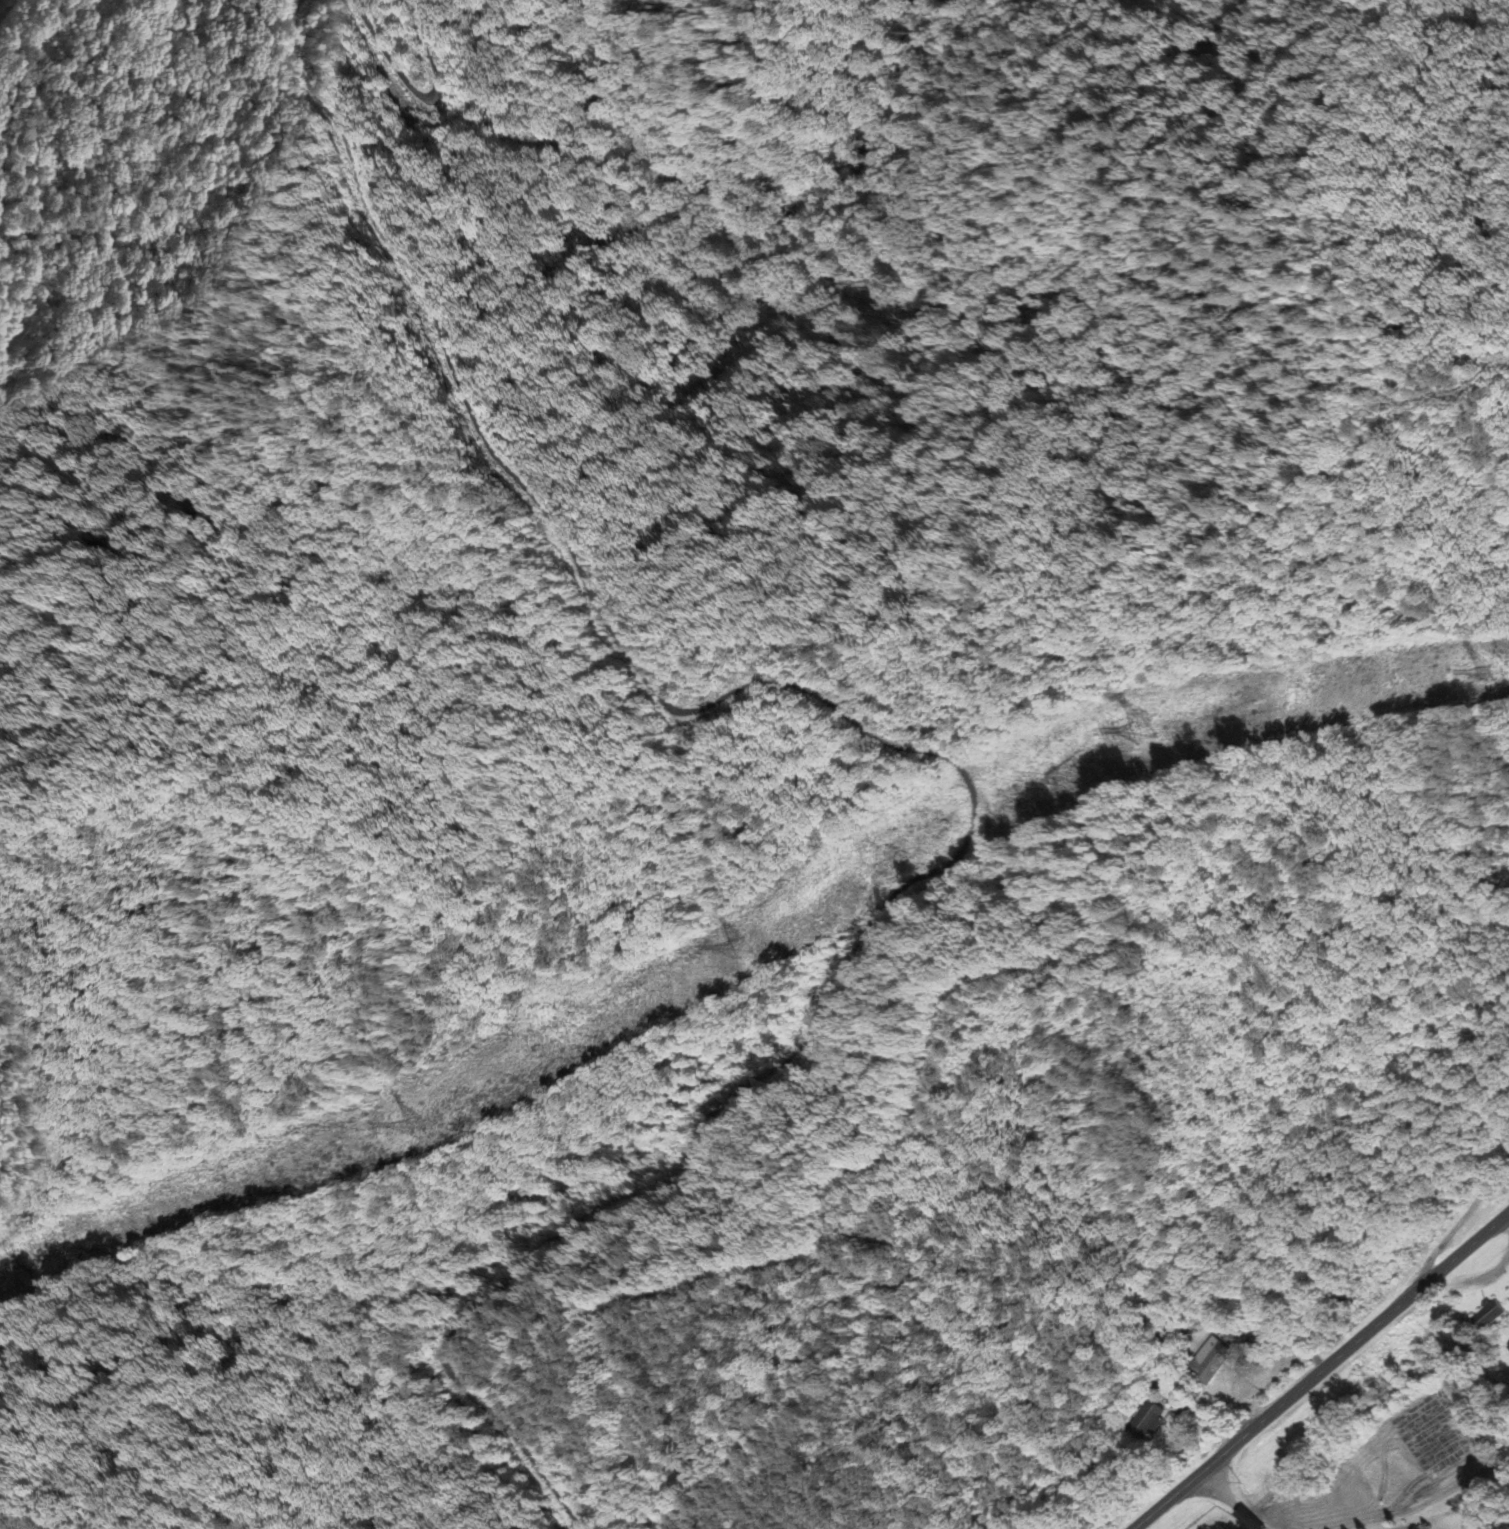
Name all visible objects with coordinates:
road: (20, 34)
road: (417, 95)
river: (753, 260)
power tower: (1138, 732)
road: (921, 751)
power tower: (408, 1123)
building: (1489, 1318)
building: (1213, 1363)
road: (1320, 1370)
building: (1150, 1424)
road: (1233, 1499)
road: (1402, 1528)
road: (1405, 1528)

